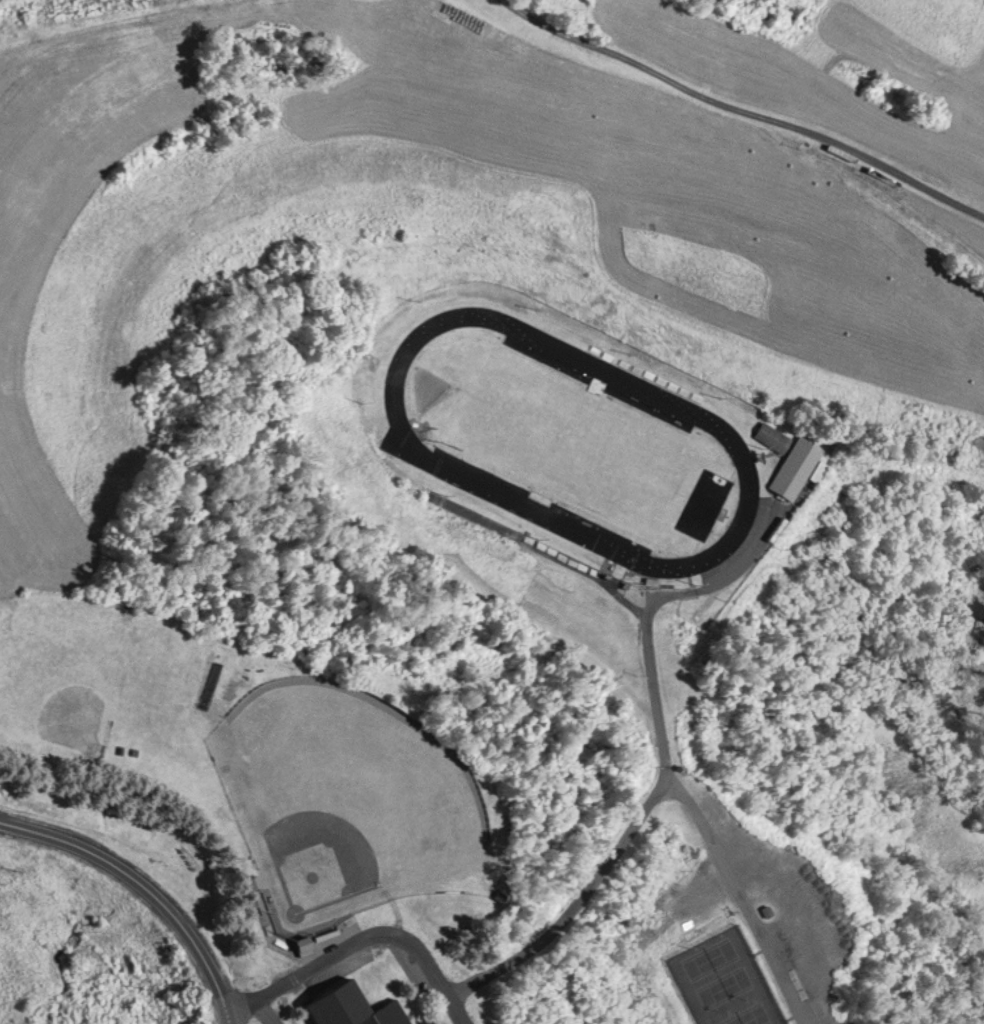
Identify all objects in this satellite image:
road: (745, 111)
building: (772, 435)
track: (406, 439)
building: (793, 467)
road: (668, 760)
park: (347, 800)
road: (148, 883)
road: (743, 895)
road: (362, 937)
building: (355, 1009)

